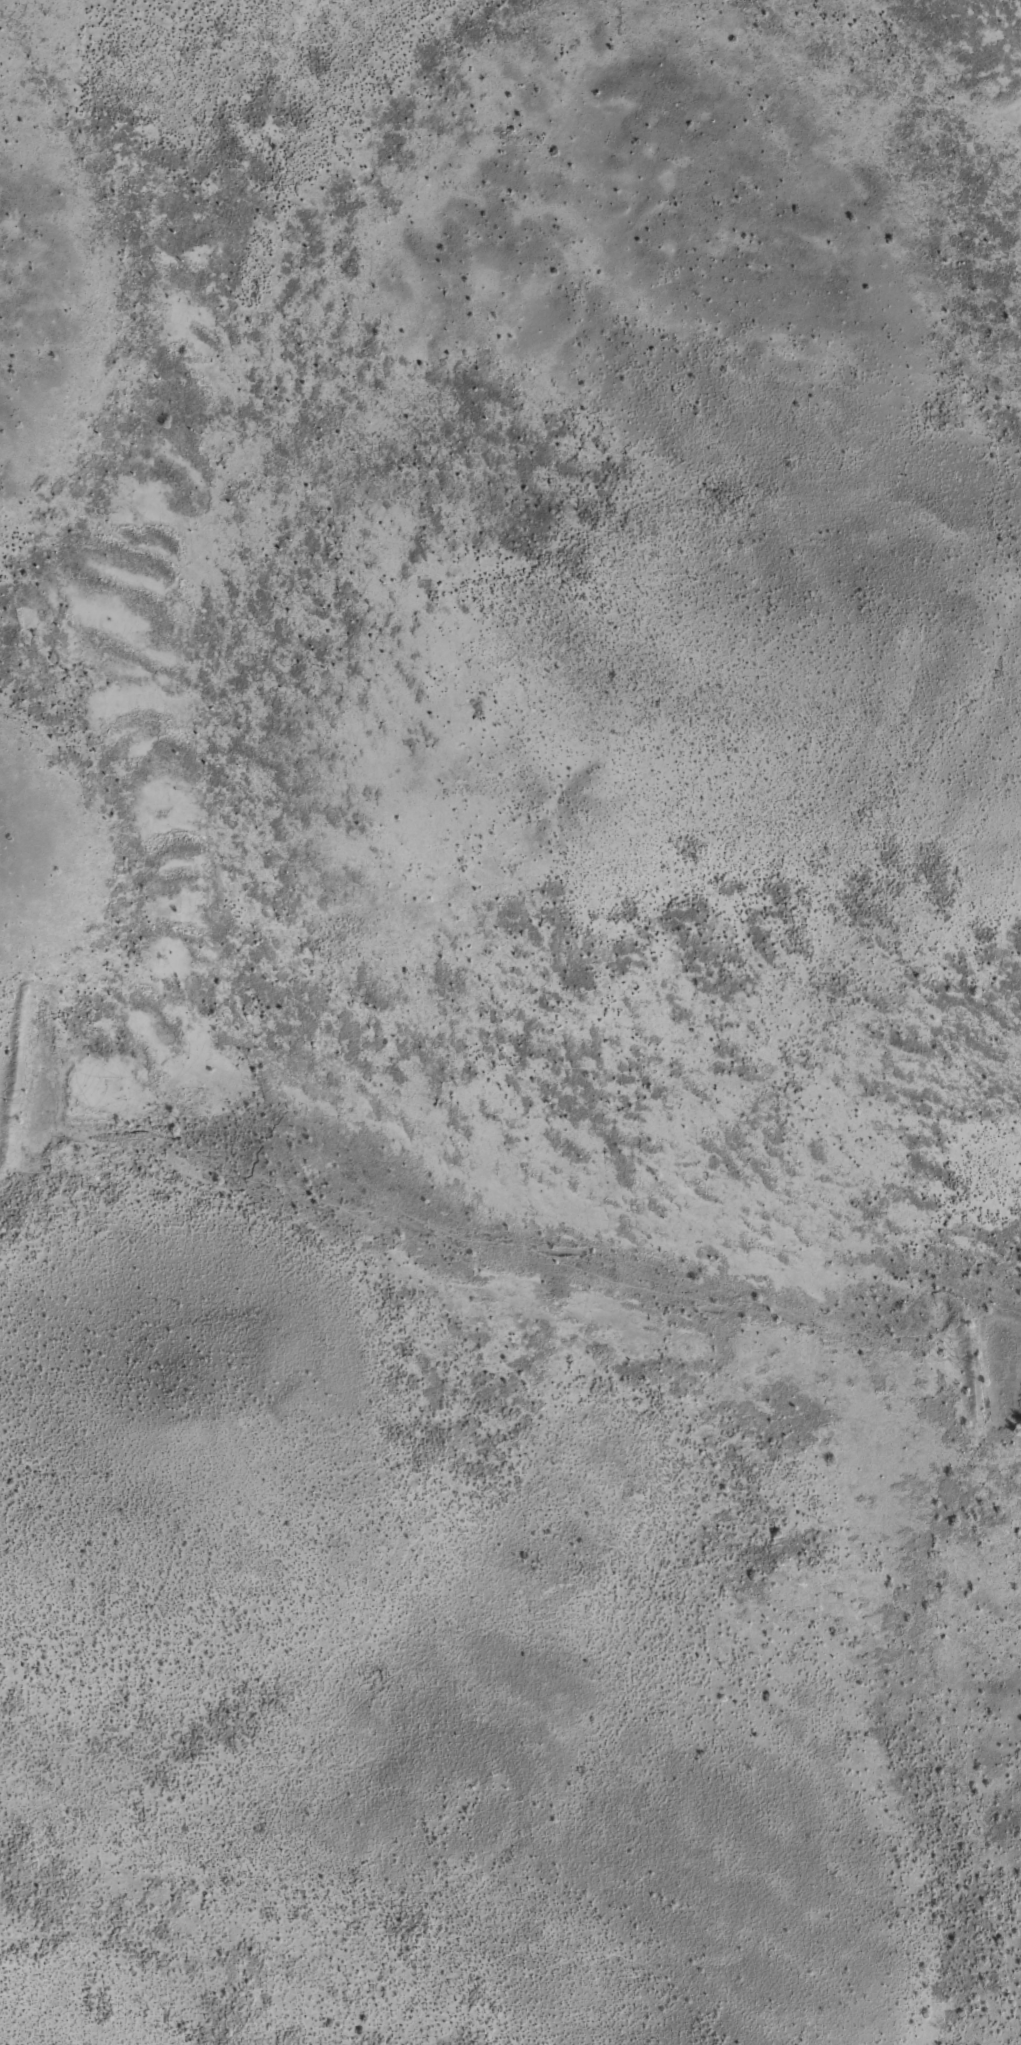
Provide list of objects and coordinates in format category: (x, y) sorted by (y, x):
road: (505, 1646)

